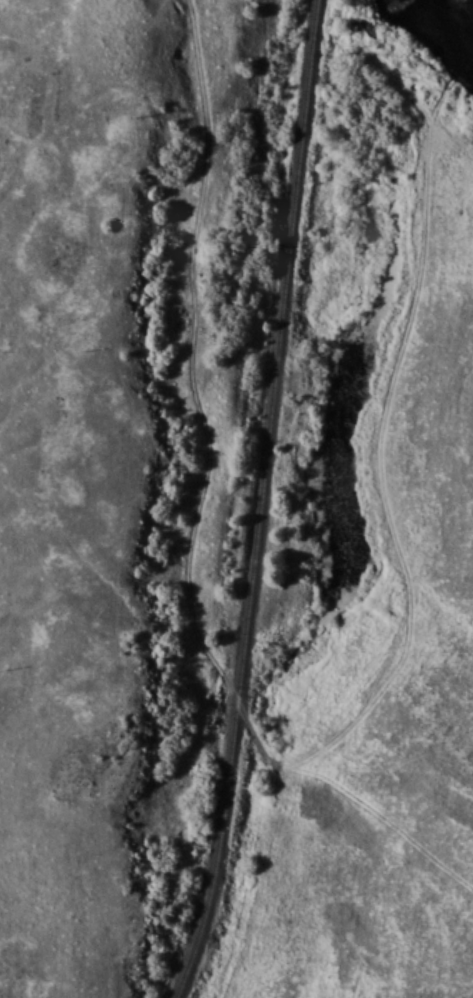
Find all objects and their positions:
river: (451, 26)
railway: (262, 503)
road: (193, 531)

